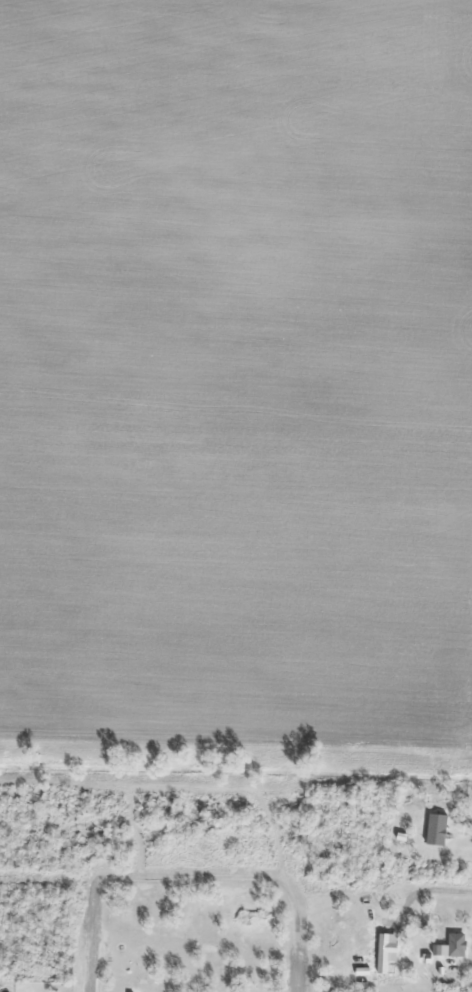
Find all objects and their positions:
crop: (237, 365)
road: (185, 892)

